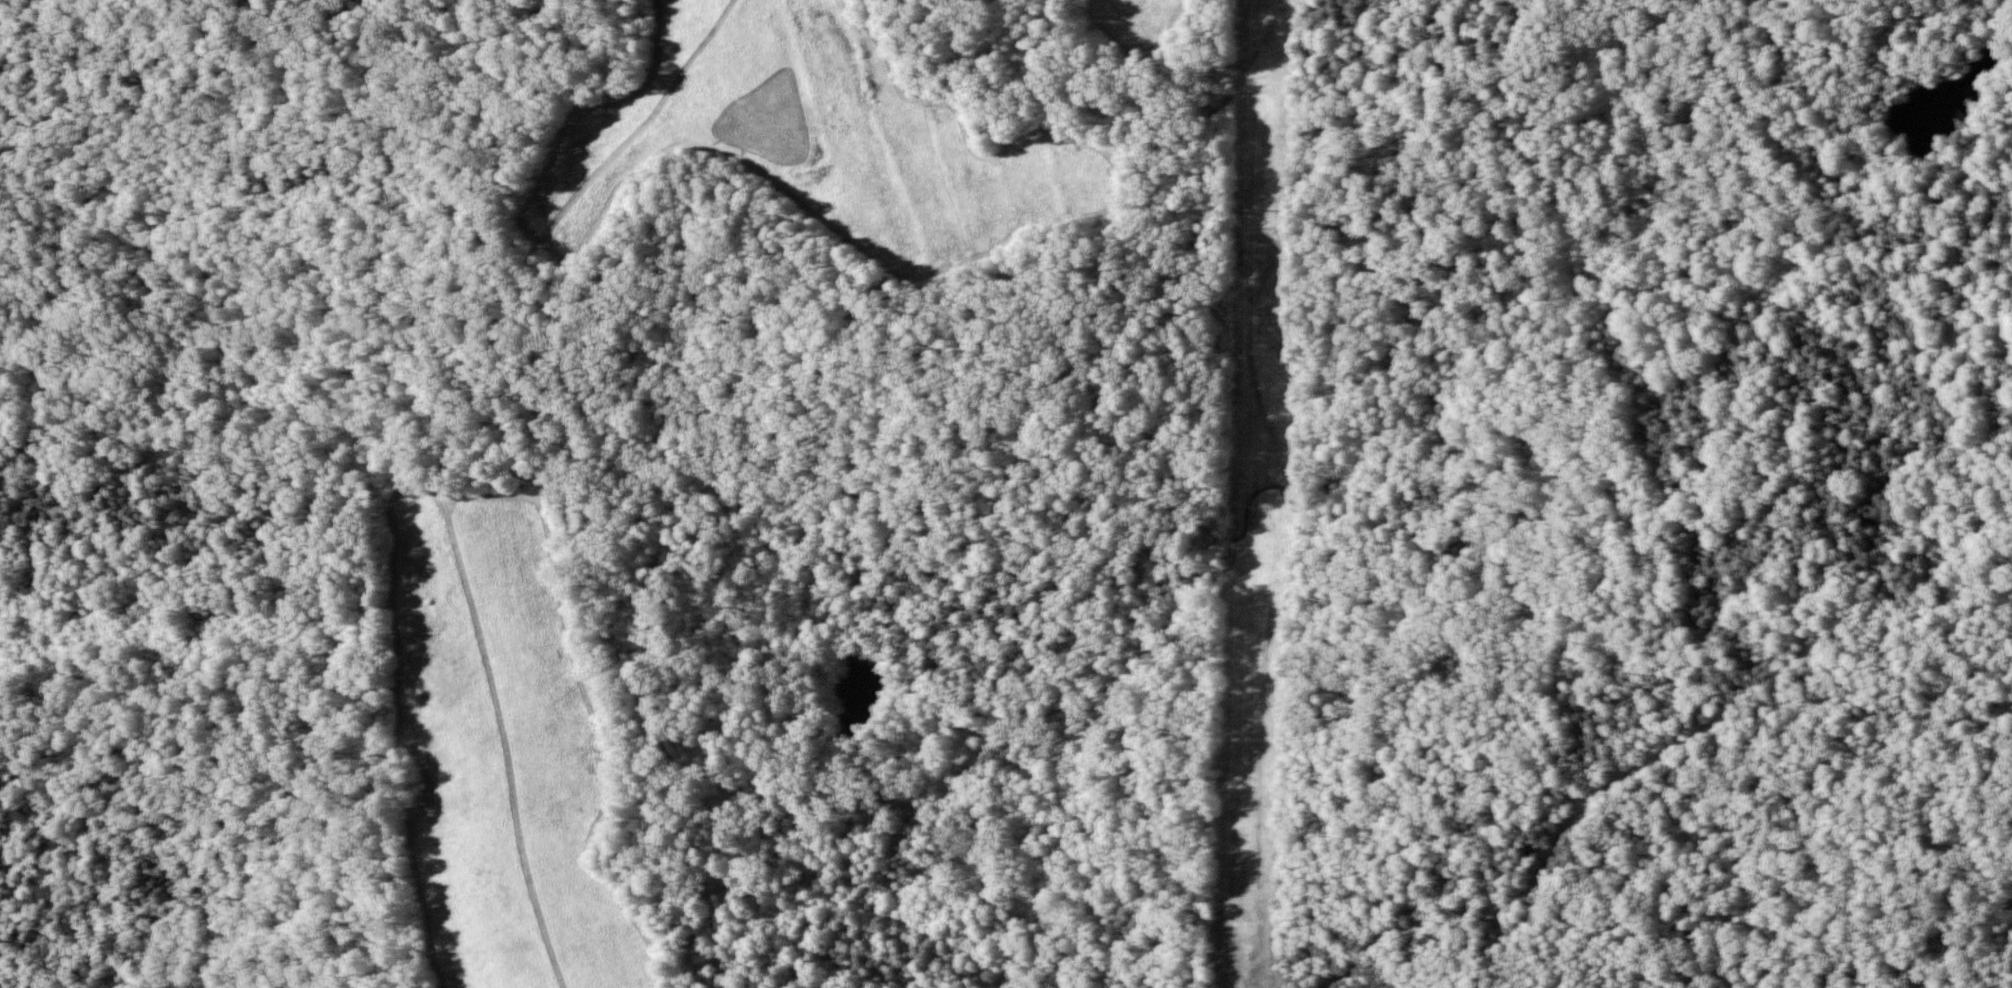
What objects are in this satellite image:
power tower: (1266, 207)

